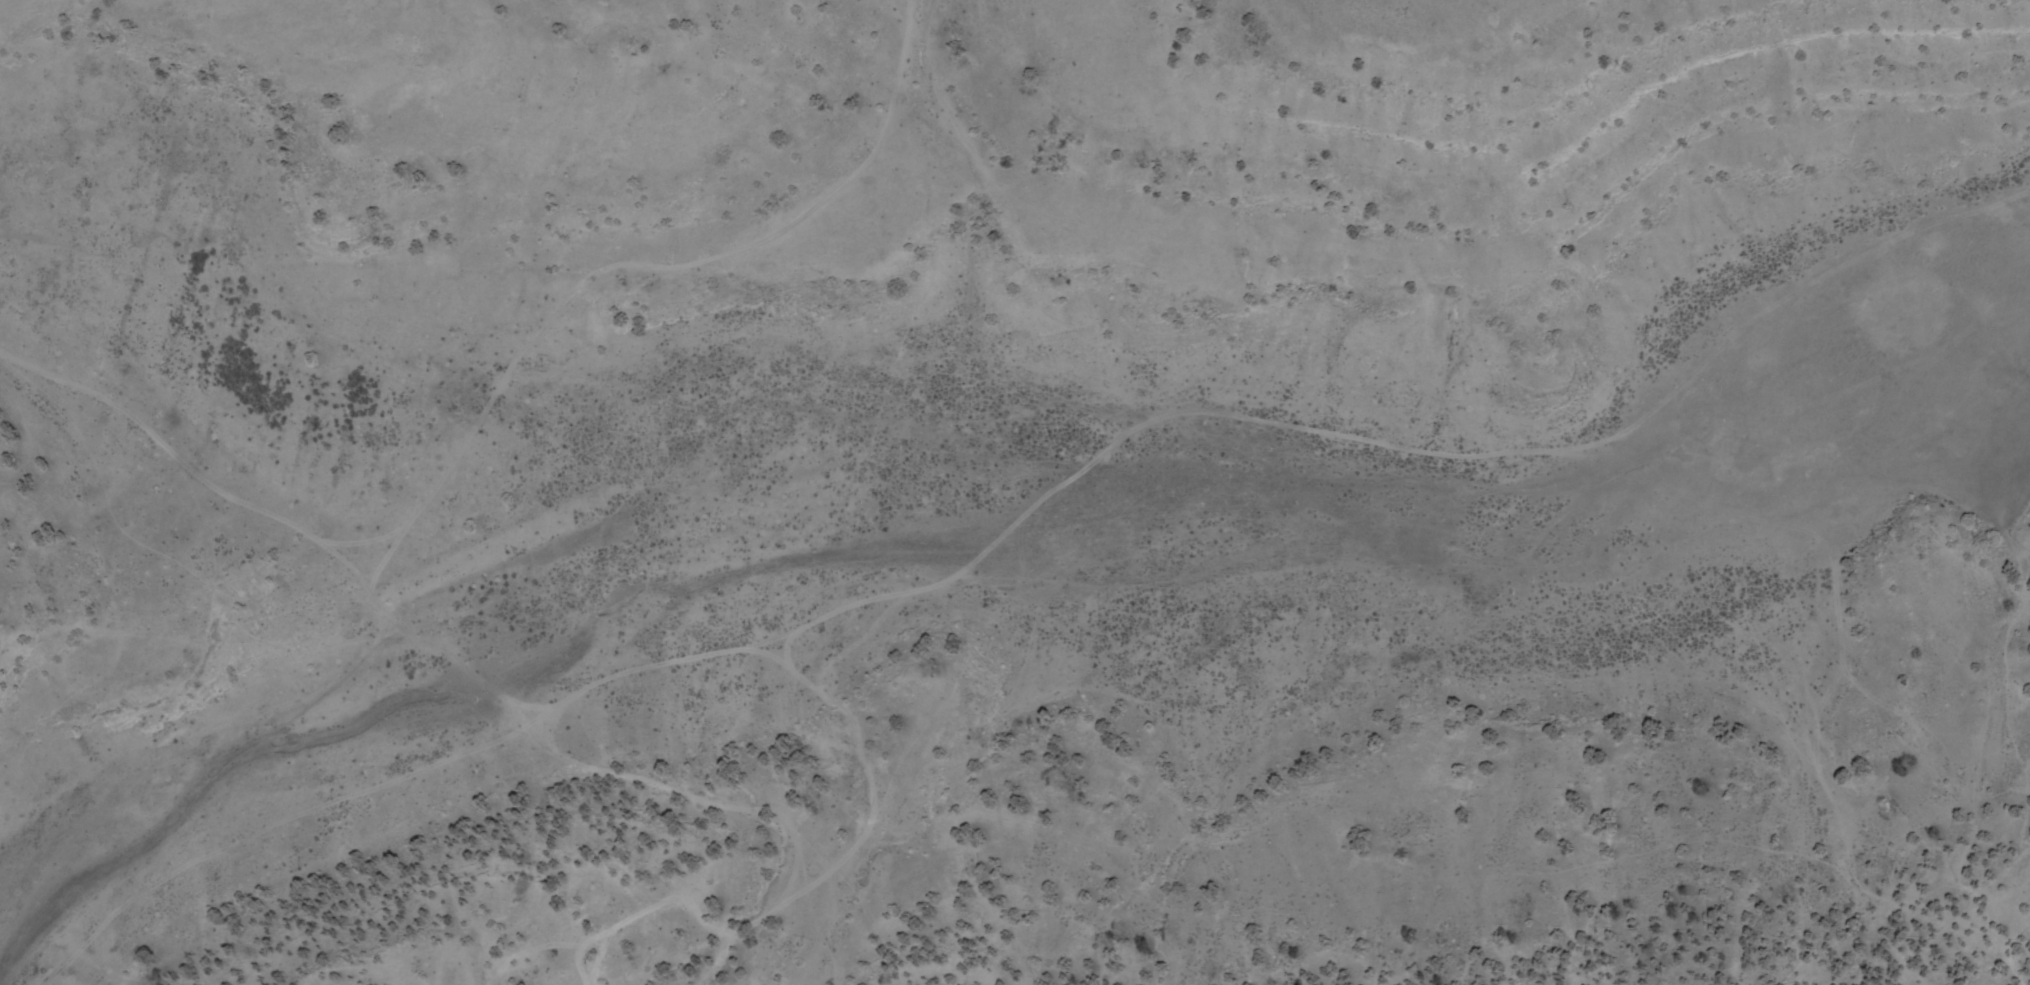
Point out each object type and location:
road: (94, 789)

